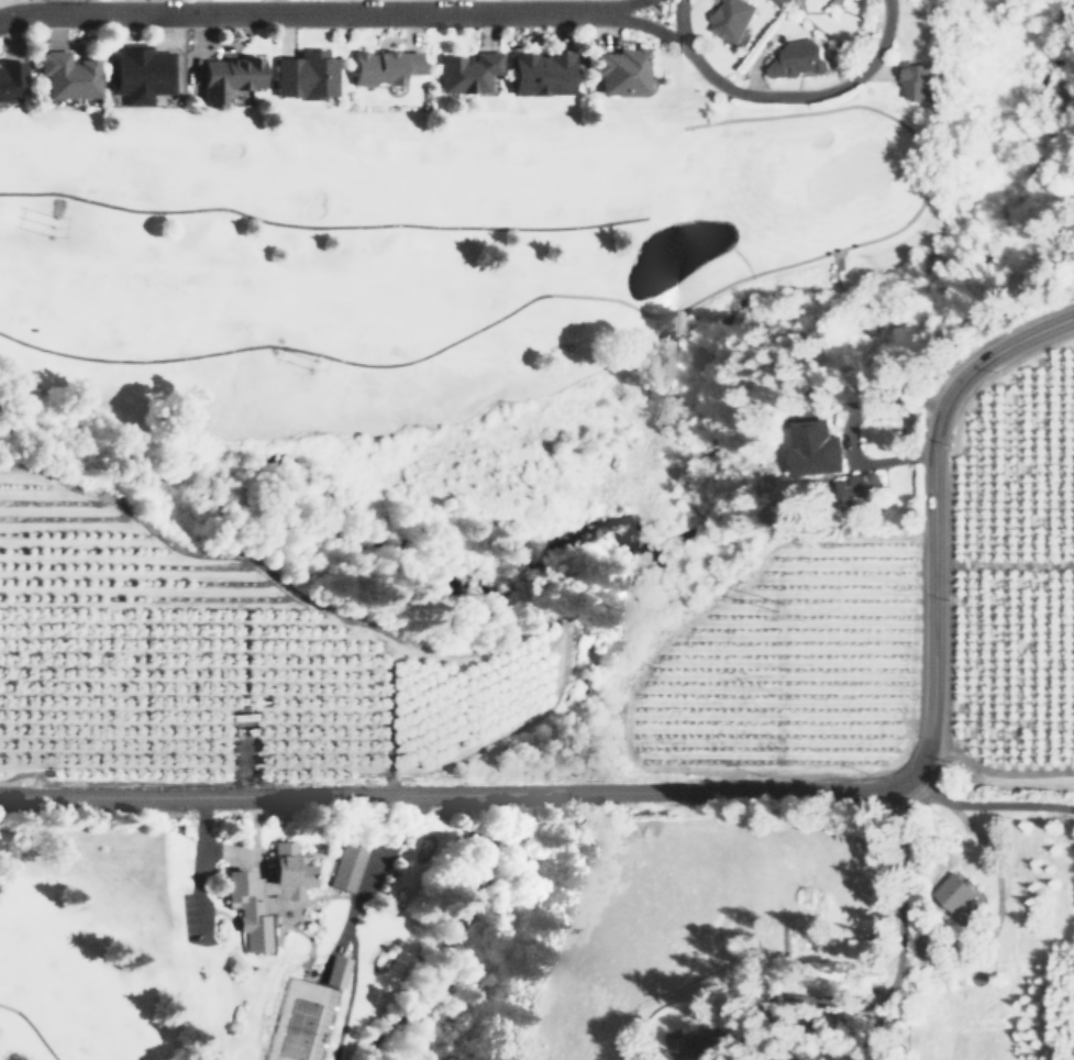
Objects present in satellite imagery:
building: (782, 1)
road: (624, 7)
road: (301, 13)
building: (730, 20)
road: (680, 25)
road: (646, 26)
building: (797, 57)
building: (385, 66)
building: (621, 70)
building: (141, 71)
building: (468, 71)
building: (542, 73)
building: (66, 74)
building: (306, 75)
building: (229, 76)
building: (919, 81)
road: (809, 96)
road: (693, 170)
road: (320, 225)
park: (446, 294)
road: (622, 300)
road: (871, 406)
building: (806, 440)
road: (896, 457)
building: (860, 485)
road: (932, 515)
crop: (787, 667)
road: (997, 772)
road: (452, 793)
road: (985, 806)
building: (347, 863)
road: (369, 870)
building: (265, 892)
building: (953, 892)
park: (102, 943)
building: (862, 947)
road: (898, 947)
building: (335, 971)
park: (297, 1019)
road: (32, 1027)

